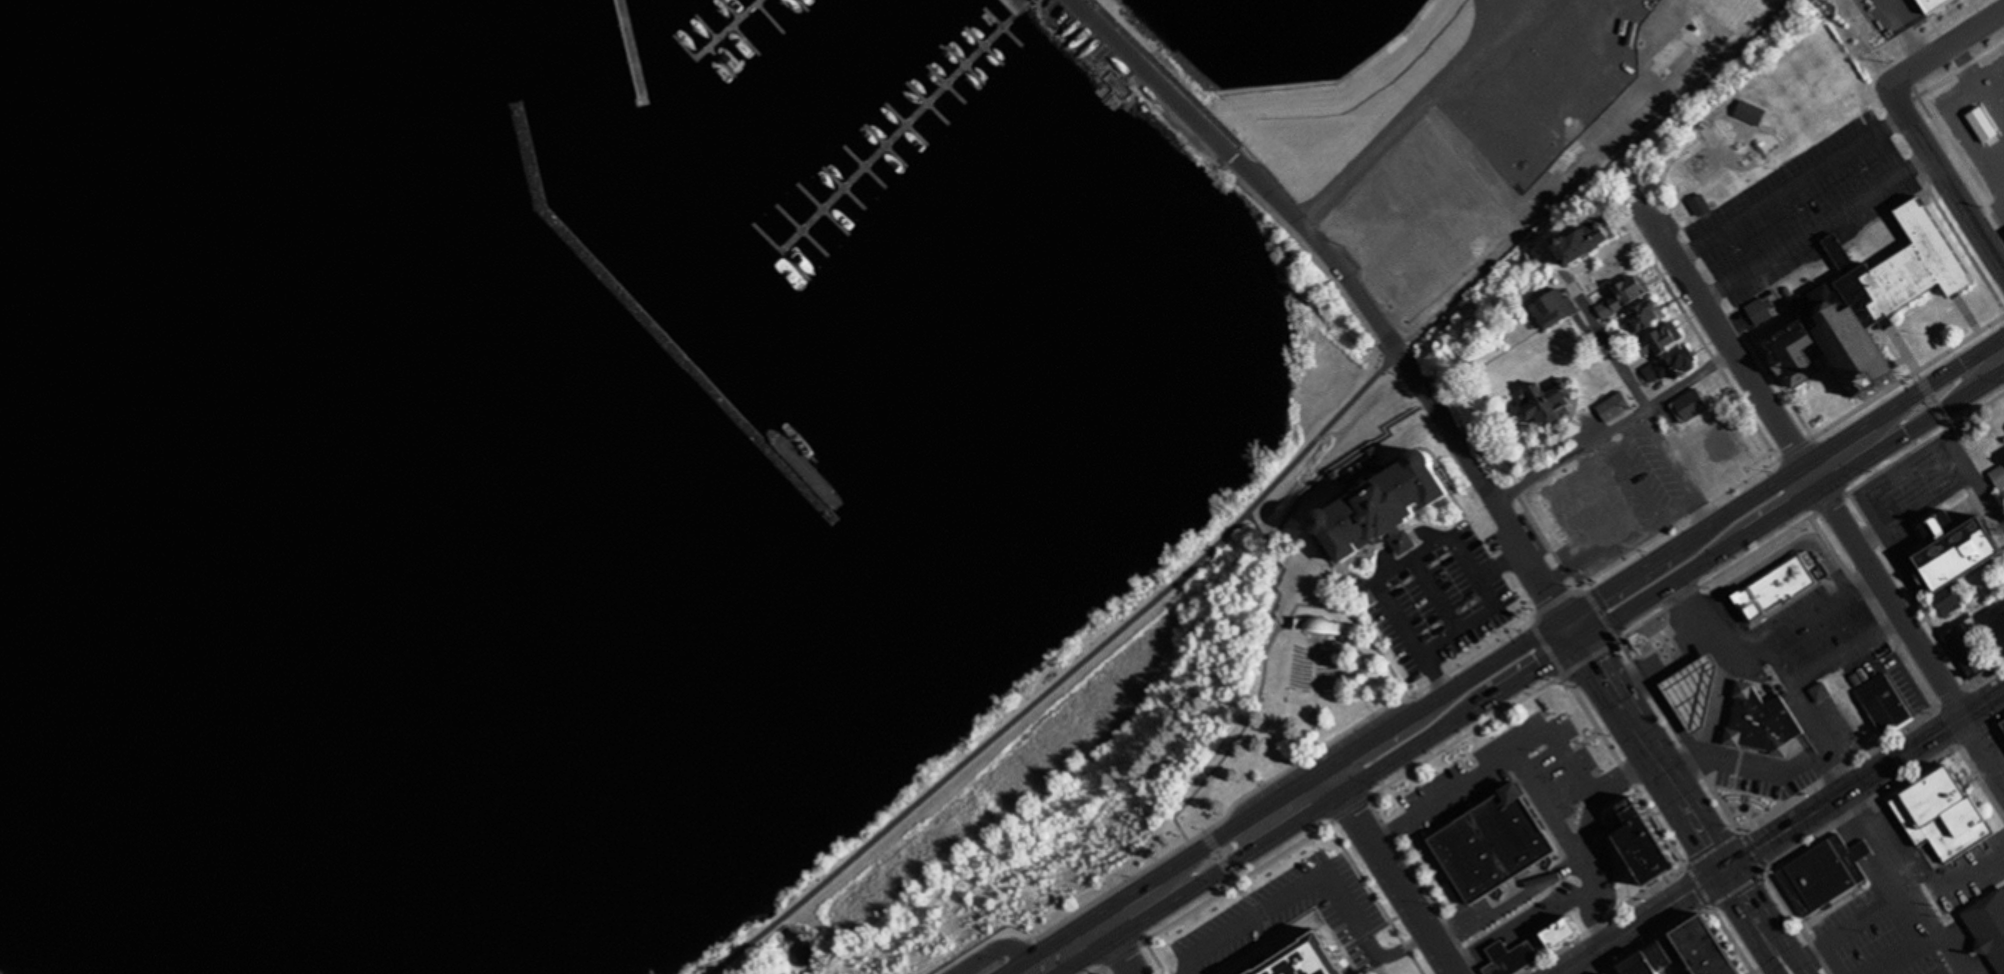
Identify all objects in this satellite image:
building: (1929, 5)
parking lot: (1079, 29)
pier: (733, 32)
road: (1110, 34)
road: (1945, 47)
pier: (630, 51)
road: (1951, 72)
road: (1323, 84)
road: (1165, 87)
road: (1431, 90)
road: (1271, 111)
building: (1977, 119)
pier: (899, 134)
park: (1180, 140)
road: (1954, 151)
road: (1945, 179)
road: (1790, 187)
parking lot: (1802, 208)
road: (1299, 224)
road: (1816, 229)
road: (1959, 237)
building: (1583, 240)
building: (1623, 266)
building: (1622, 296)
building: (1867, 304)
building: (1554, 308)
building: (1758, 310)
road: (1966, 313)
building: (1643, 318)
building: (1659, 338)
road: (1606, 340)
road: (1702, 342)
road: (1729, 347)
road: (1903, 348)
road: (1900, 360)
building: (1673, 362)
road: (1950, 369)
road: (1778, 382)
road: (1972, 386)
road: (1933, 398)
building: (1542, 402)
building: (1689, 404)
building: (1614, 406)
road: (1613, 428)
road: (1851, 433)
building: (1723, 441)
road: (1879, 449)
road: (1347, 457)
parking lot: (1648, 473)
building: (1998, 475)
road: (1482, 484)
road: (1982, 485)
road: (1763, 490)
road: (1896, 492)
parking lot: (1914, 494)
building: (1591, 504)
building: (1392, 509)
road: (1673, 509)
road: (1761, 523)
road: (1430, 546)
building: (1953, 548)
road: (1778, 553)
road: (1278, 562)
road: (1501, 563)
road: (1643, 566)
building: (1779, 589)
road: (1435, 592)
parking lot: (1434, 597)
road: (1642, 599)
building: (1958, 600)
road: (1925, 614)
traffic signals: (1564, 617)
building: (1325, 626)
building: (1992, 627)
road: (1571, 629)
road: (1910, 635)
traffic signals: (1579, 641)
road: (1757, 645)
building: (1965, 647)
road: (1845, 651)
road: (1505, 654)
road: (1265, 657)
road: (1469, 657)
road: (1908, 664)
road: (1661, 665)
road: (1066, 674)
parking lot: (1768, 677)
road: (1512, 682)
road: (1546, 683)
parking lot: (1906, 685)
park: (1181, 692)
building: (1820, 693)
building: (1700, 694)
gas station: (1700, 694)
road: (1311, 697)
road: (1615, 698)
building: (1887, 704)
road: (1808, 714)
building: (1765, 724)
road: (1387, 729)
road: (1674, 730)
road: (1714, 732)
road: (1926, 740)
road: (1512, 754)
park: (1321, 757)
road: (1719, 761)
road: (1845, 764)
road: (1659, 767)
parking lot: (1509, 773)
road: (1642, 796)
road: (1543, 804)
road: (1262, 807)
road: (1464, 815)
building: (1948, 815)
road: (1295, 820)
road: (1696, 823)
park: (1215, 828)
road: (1787, 829)
road: (1390, 831)
road: (1801, 843)
building: (1499, 846)
building: (1651, 848)
building: (1863, 852)
road: (1562, 865)
traffic signals: (1725, 869)
road: (1389, 870)
road: (1162, 871)
road: (1439, 872)
parking lot: (1968, 874)
park: (1138, 877)
building: (1824, 878)
road: (1907, 882)
road: (1949, 884)
road: (1421, 886)
parking lot: (1576, 890)
park: (884, 896)
road: (1243, 896)
road: (1375, 898)
road: (1585, 898)
road: (1767, 910)
parking lot: (1892, 911)
parking lot: (1289, 916)
road: (1122, 917)
park: (1287, 917)
road: (1248, 919)
road: (1605, 920)
road: (1642, 921)
road: (1747, 923)
building: (1991, 925)
road: (1377, 927)
road: (1857, 927)
road: (1516, 929)
building: (1567, 929)
road: (1337, 940)
road: (1367, 943)
road: (1027, 945)
building: (1707, 948)
road: (999, 949)
building: (1503, 950)
road: (1067, 951)
road: (1118, 951)
road: (1292, 951)
road: (1903, 952)
road: (1492, 953)
road: (1155, 956)
building: (1666, 957)
road: (1838, 959)
building: (1315, 960)
building: (1518, 960)
road: (1610, 960)
building: (1645, 966)
road: (1058, 967)
road: (1804, 967)
road: (1105, 969)
road: (1776, 973)

